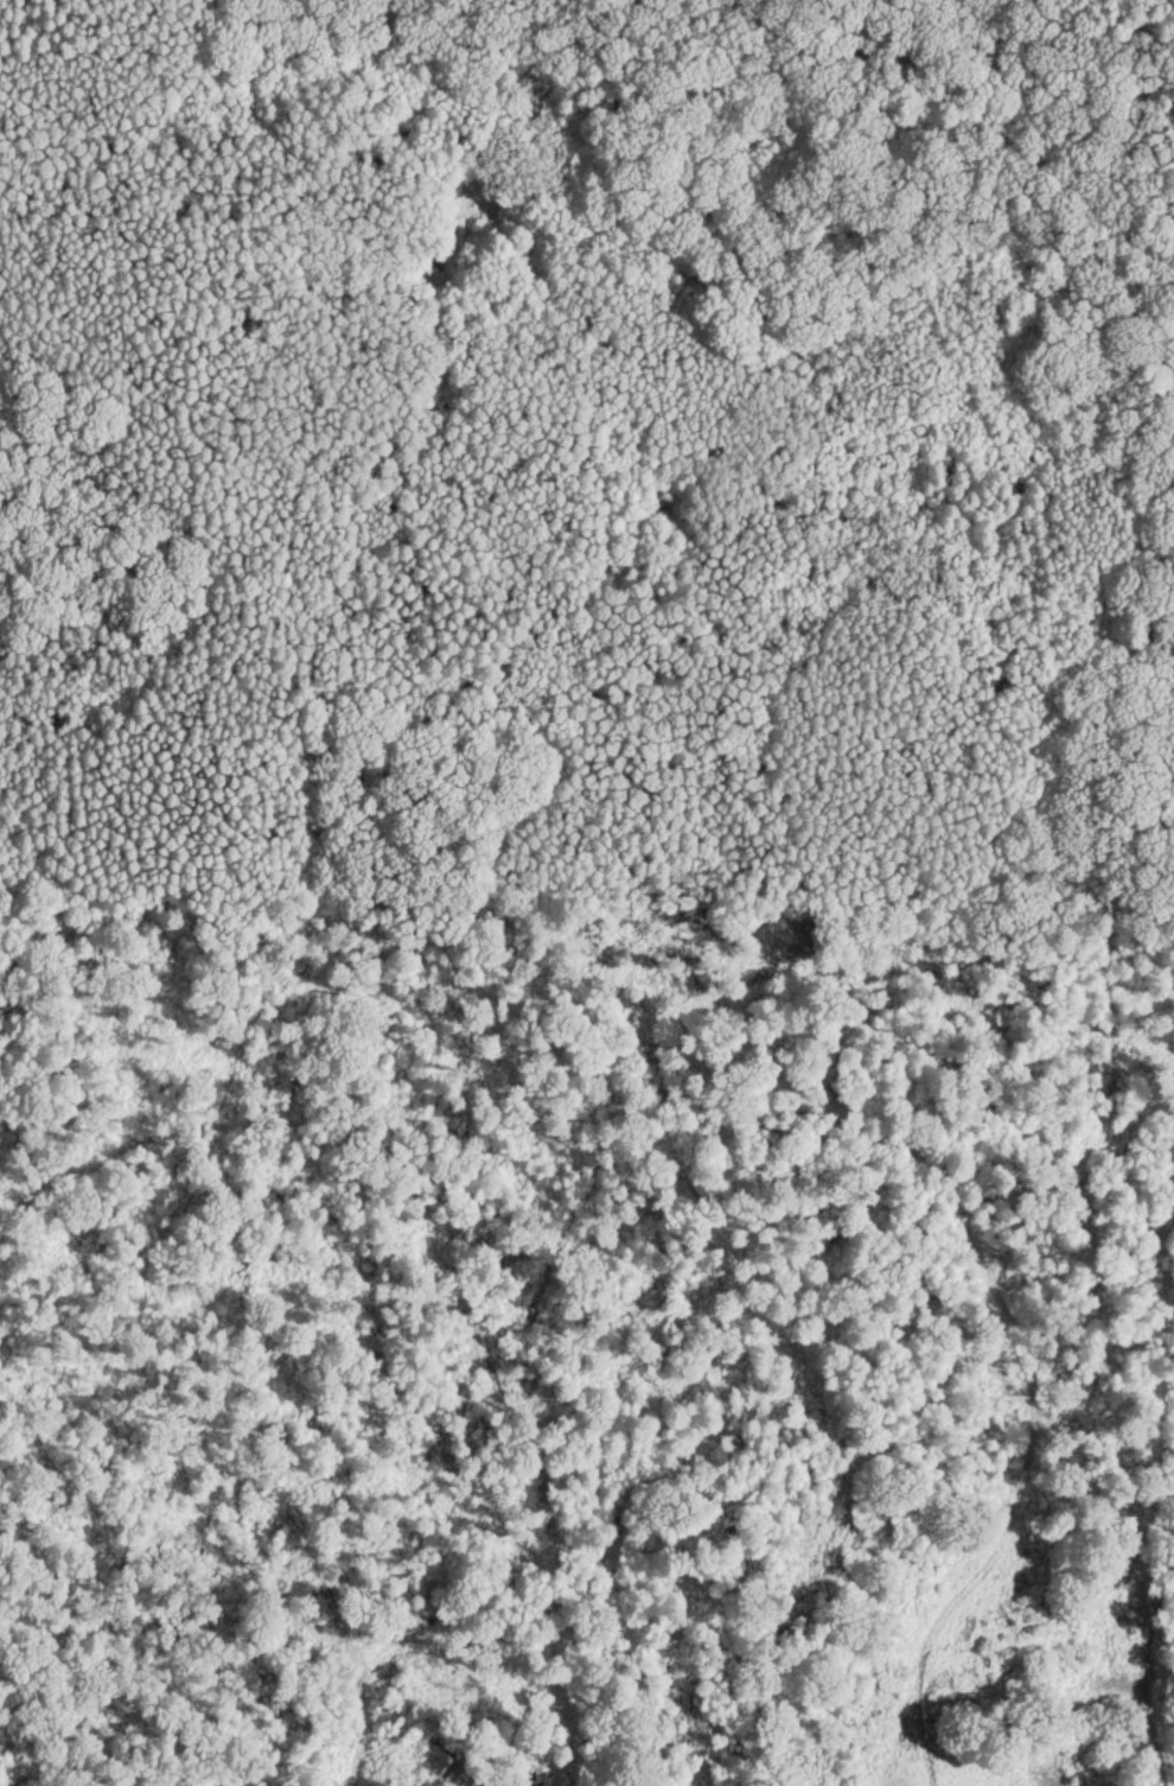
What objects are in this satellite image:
road: (173, 1685)
building: (436, 1759)

